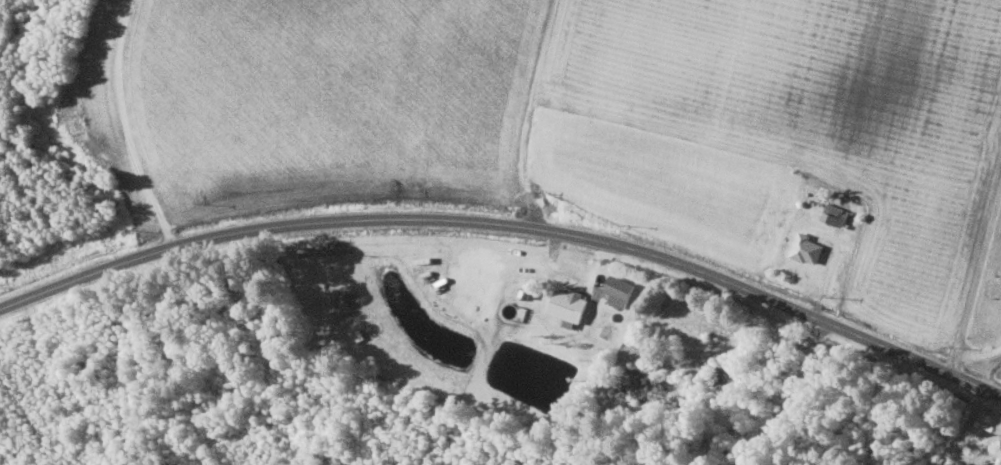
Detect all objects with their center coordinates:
road: (530, 112)
road: (127, 126)
building: (835, 214)
road: (510, 225)
building: (806, 248)
road: (978, 266)
building: (619, 290)
building: (568, 305)
road: (967, 352)
building: (792, 370)
building: (726, 375)
building: (976, 464)

